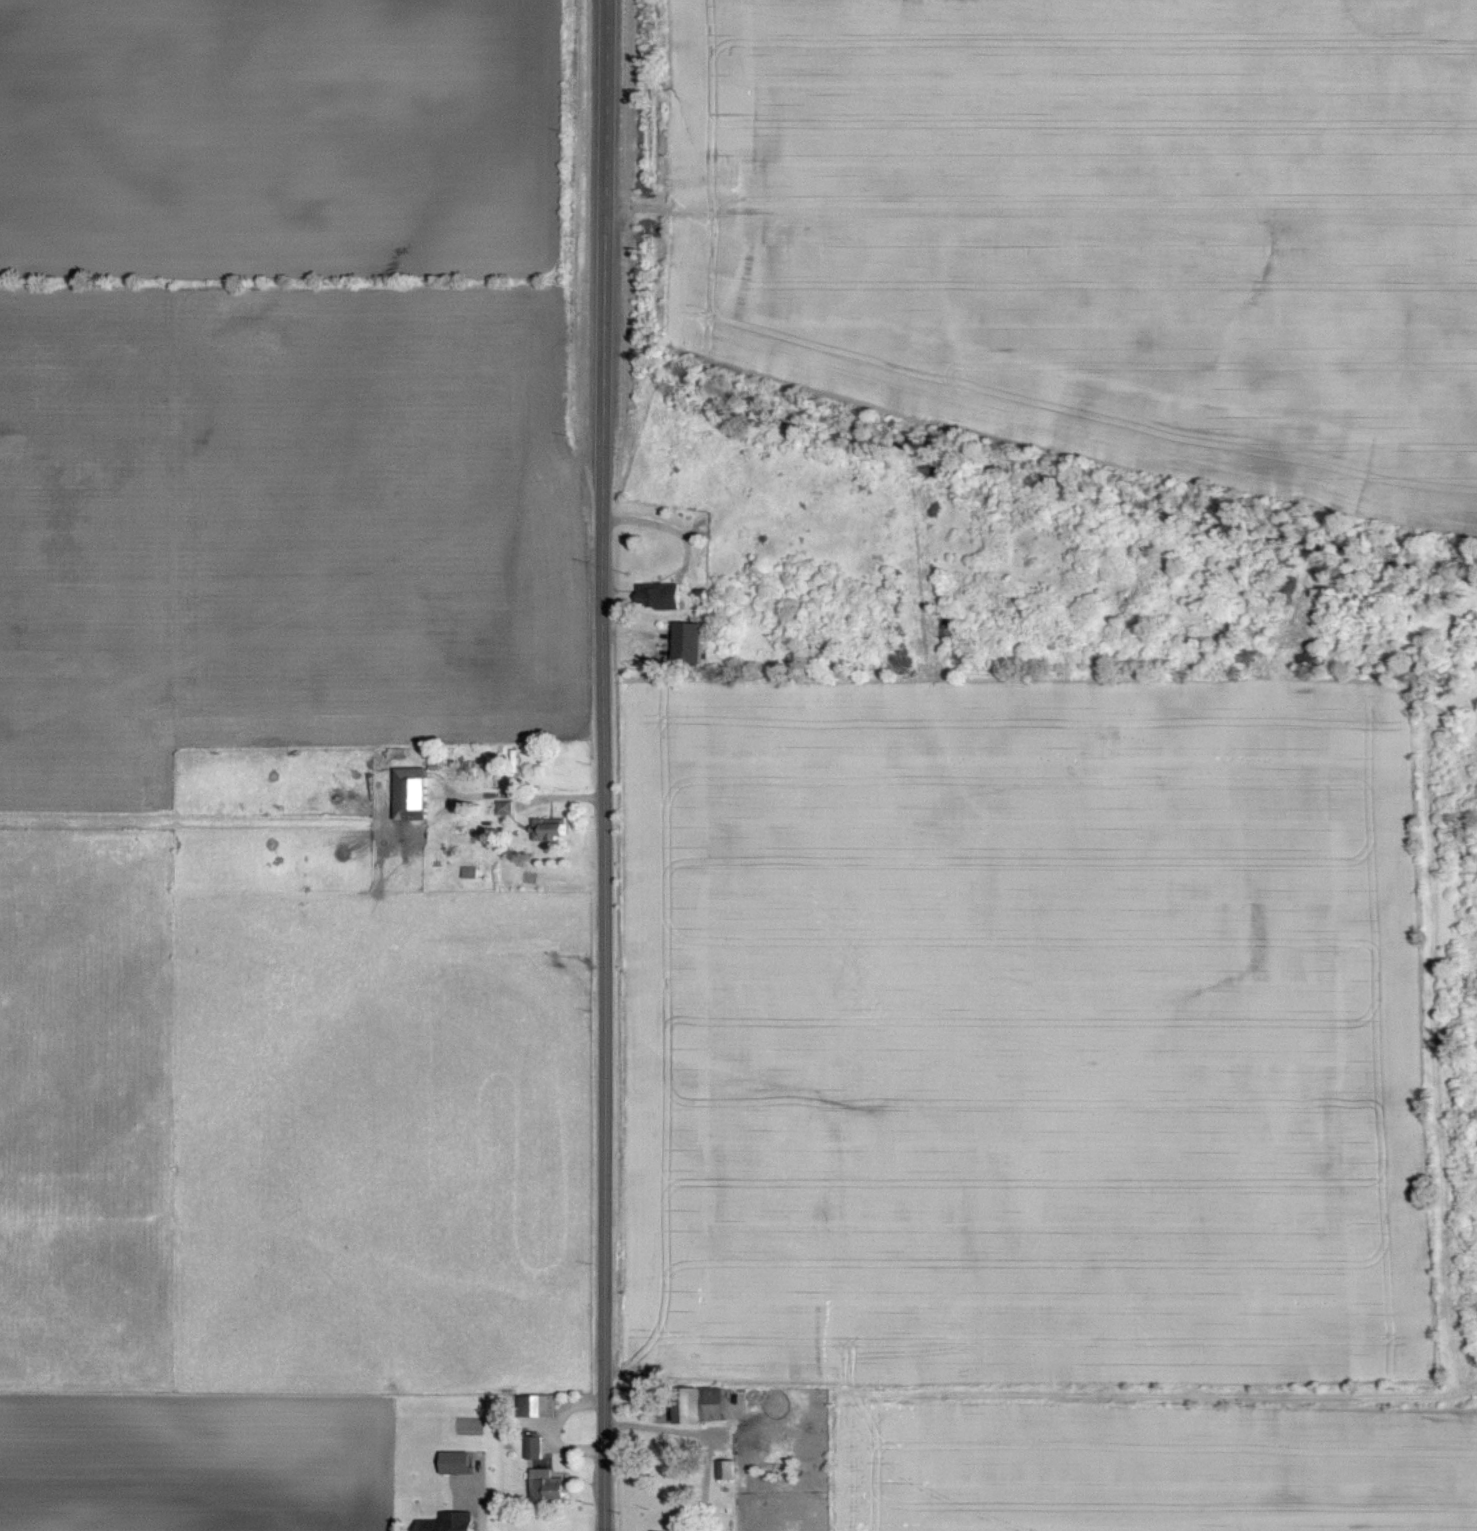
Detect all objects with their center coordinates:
building: (663, 594)
building: (692, 641)
road: (604, 765)
building: (417, 792)
building: (557, 827)
building: (702, 1402)
building: (538, 1404)
building: (536, 1446)
building: (458, 1461)
building: (729, 1467)
building: (549, 1485)
building: (451, 1521)

